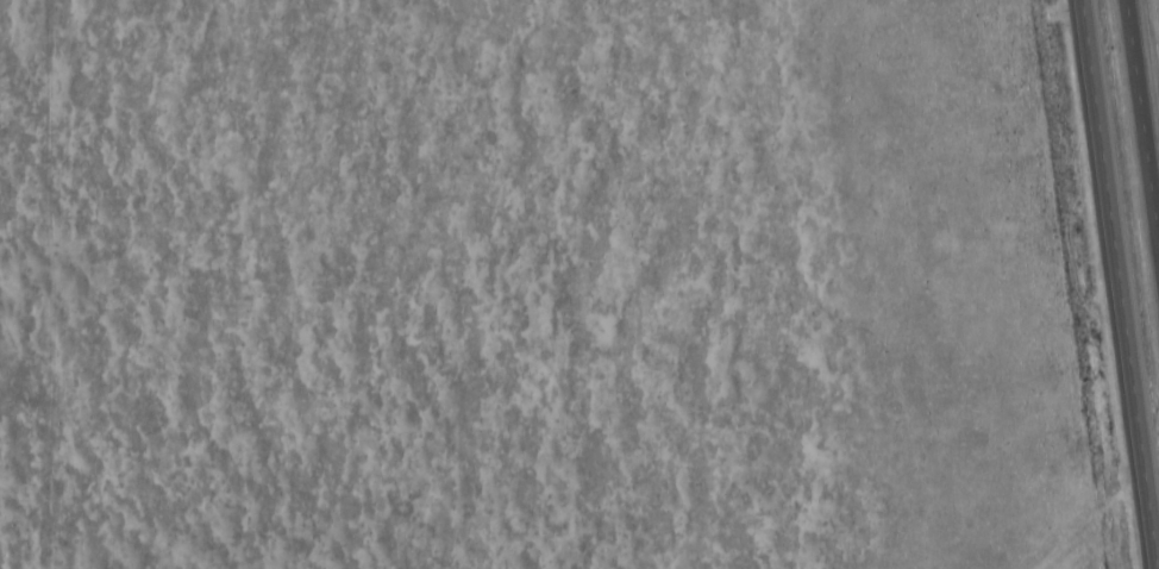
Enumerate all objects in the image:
road: (1144, 110)
road: (1114, 284)

